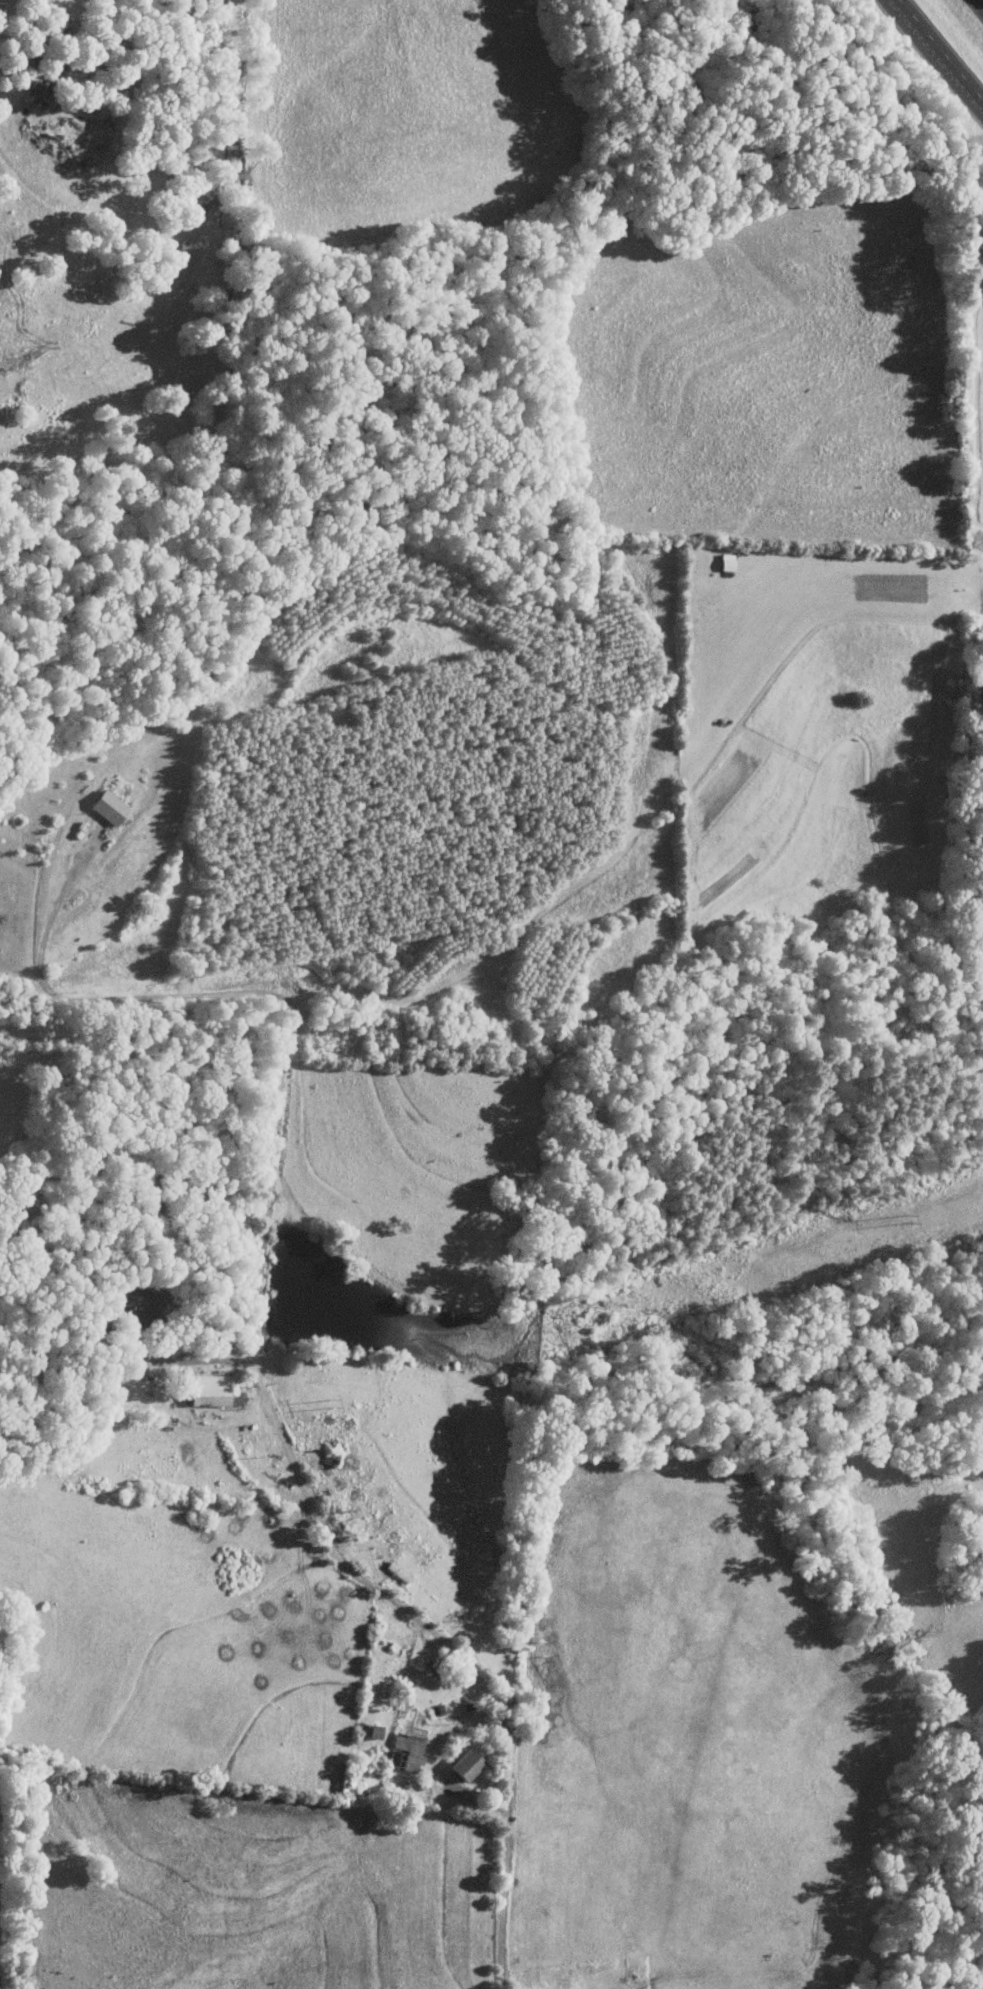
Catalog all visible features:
road: (946, 45)
building: (724, 561)
building: (105, 806)
road: (112, 998)
building: (135, 1304)
road: (204, 1364)
building: (206, 1390)
road: (330, 1535)
building: (404, 1751)
building: (462, 1763)
road: (428, 1764)

